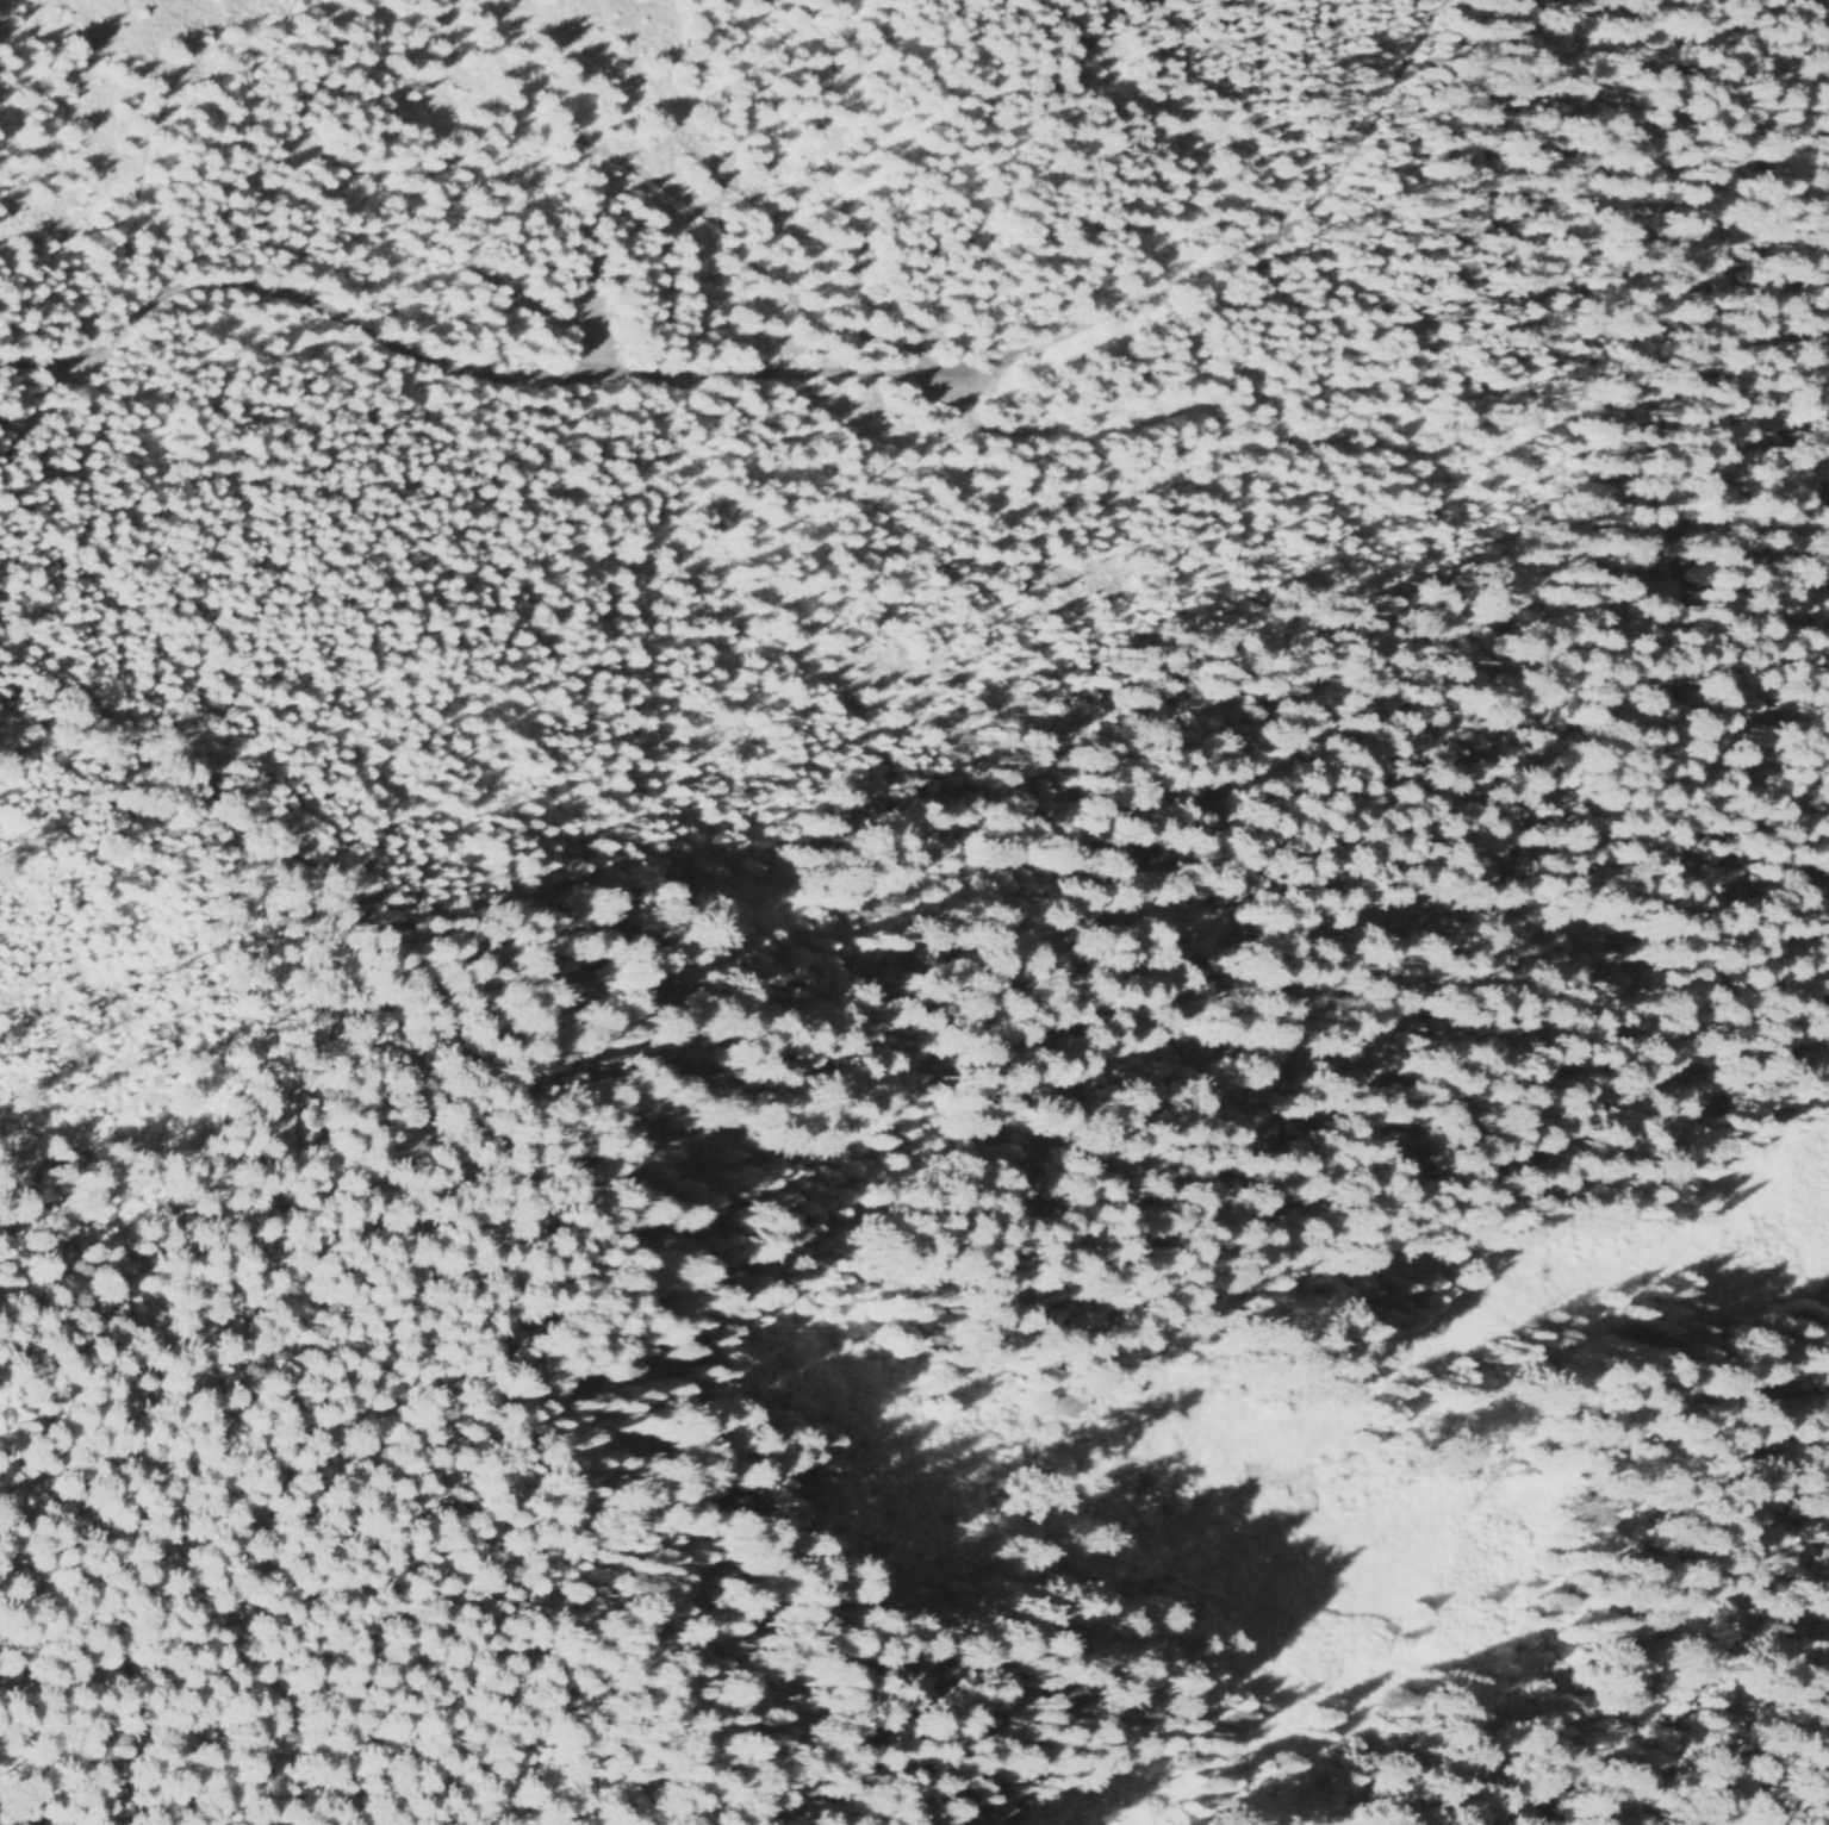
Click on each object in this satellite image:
road: (144, 136)
road: (774, 376)
road: (459, 1133)

